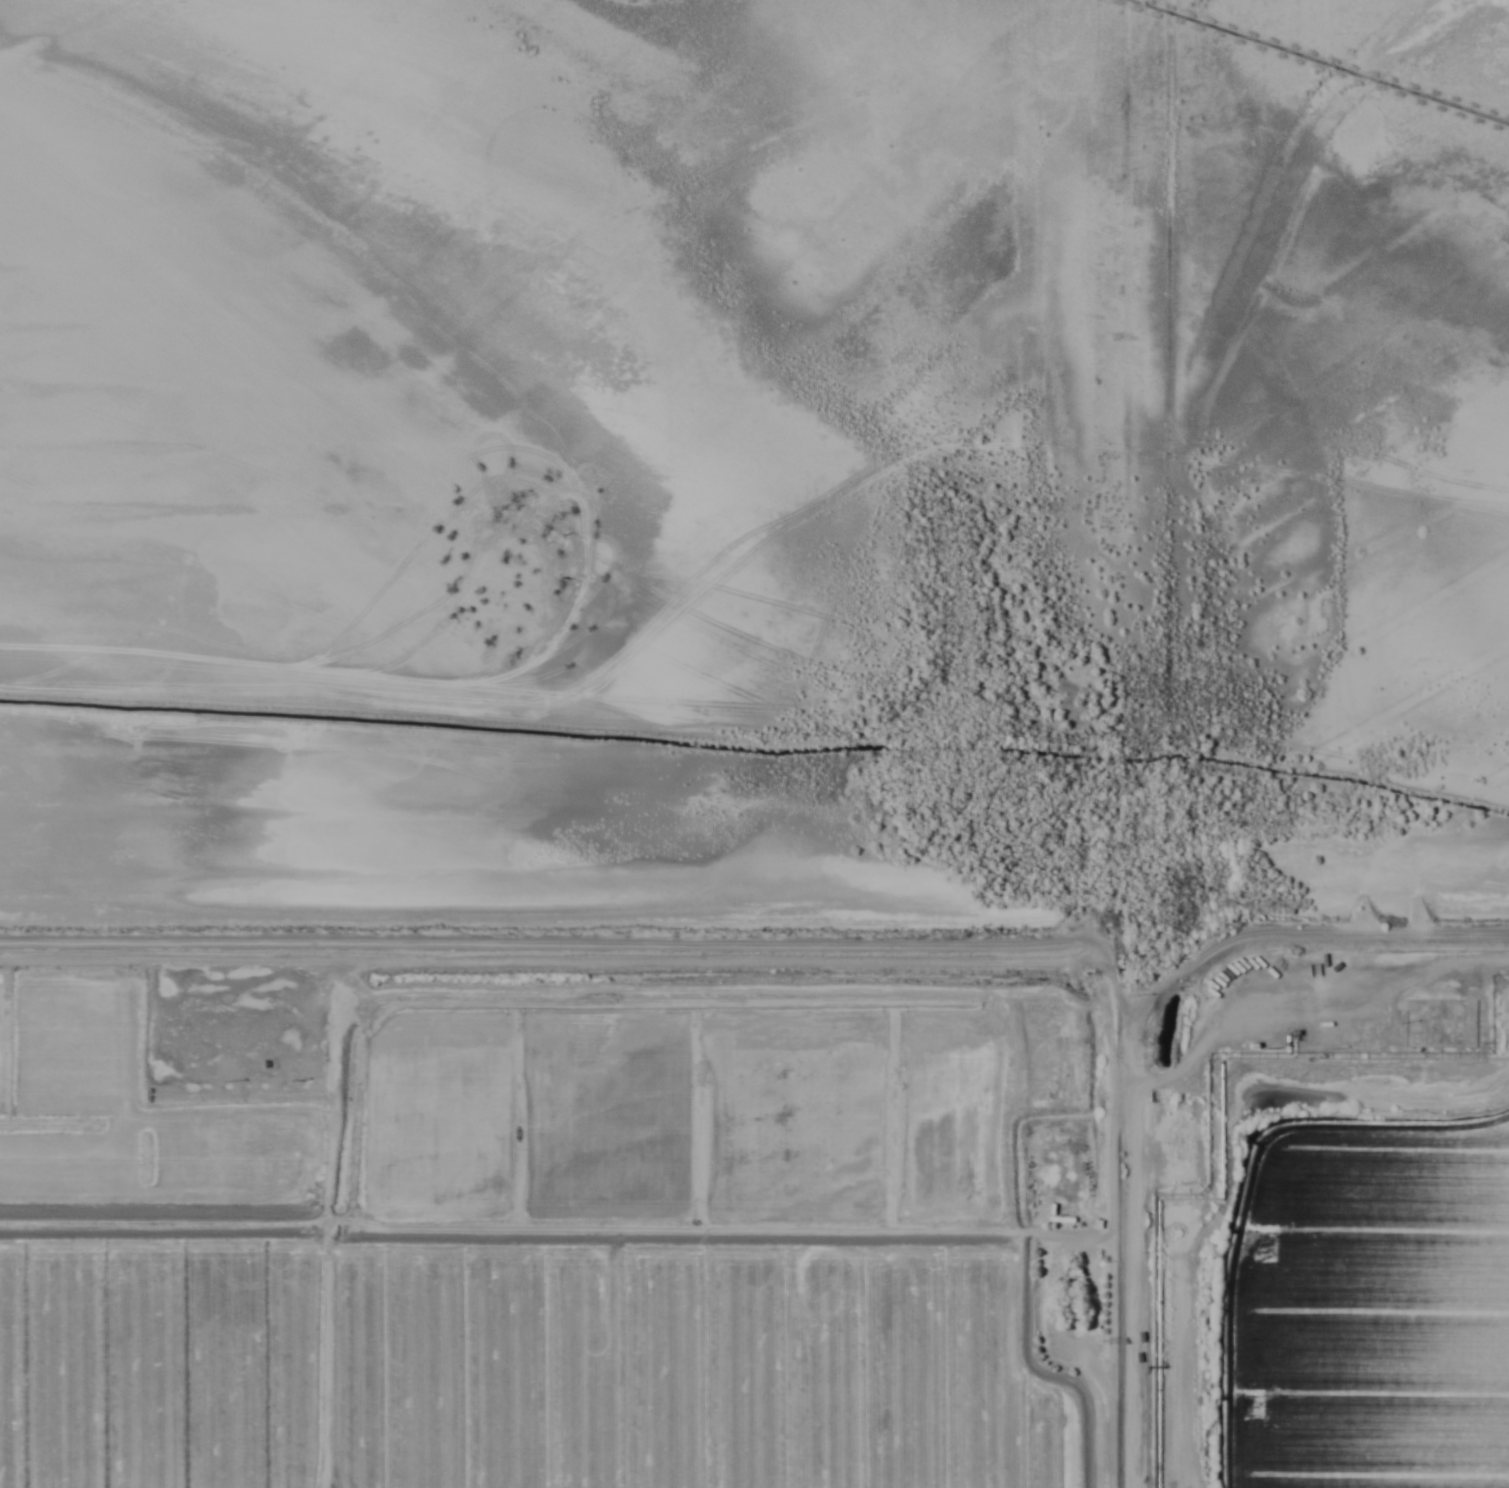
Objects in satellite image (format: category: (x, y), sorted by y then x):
road: (1127, 1229)

